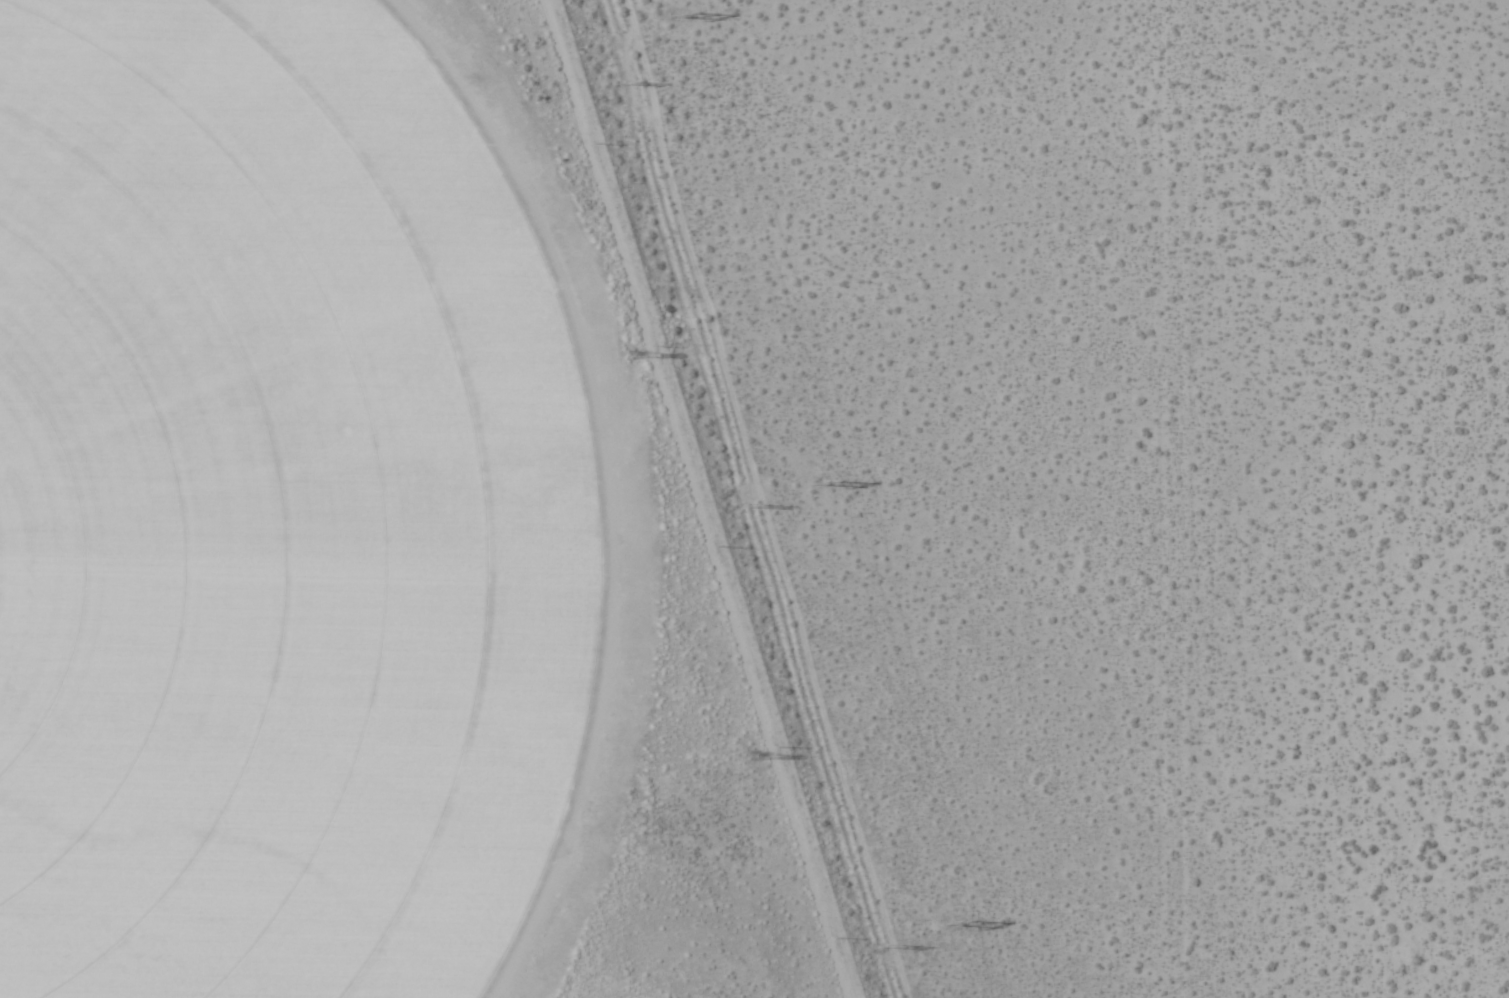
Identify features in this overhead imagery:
power tower: (688, 16)
power tower: (632, 80)
power tower: (634, 355)
power tower: (831, 483)
power tower: (746, 505)
crop: (272, 511)
power tower: (754, 756)
power tower: (960, 920)
power tower: (875, 944)

